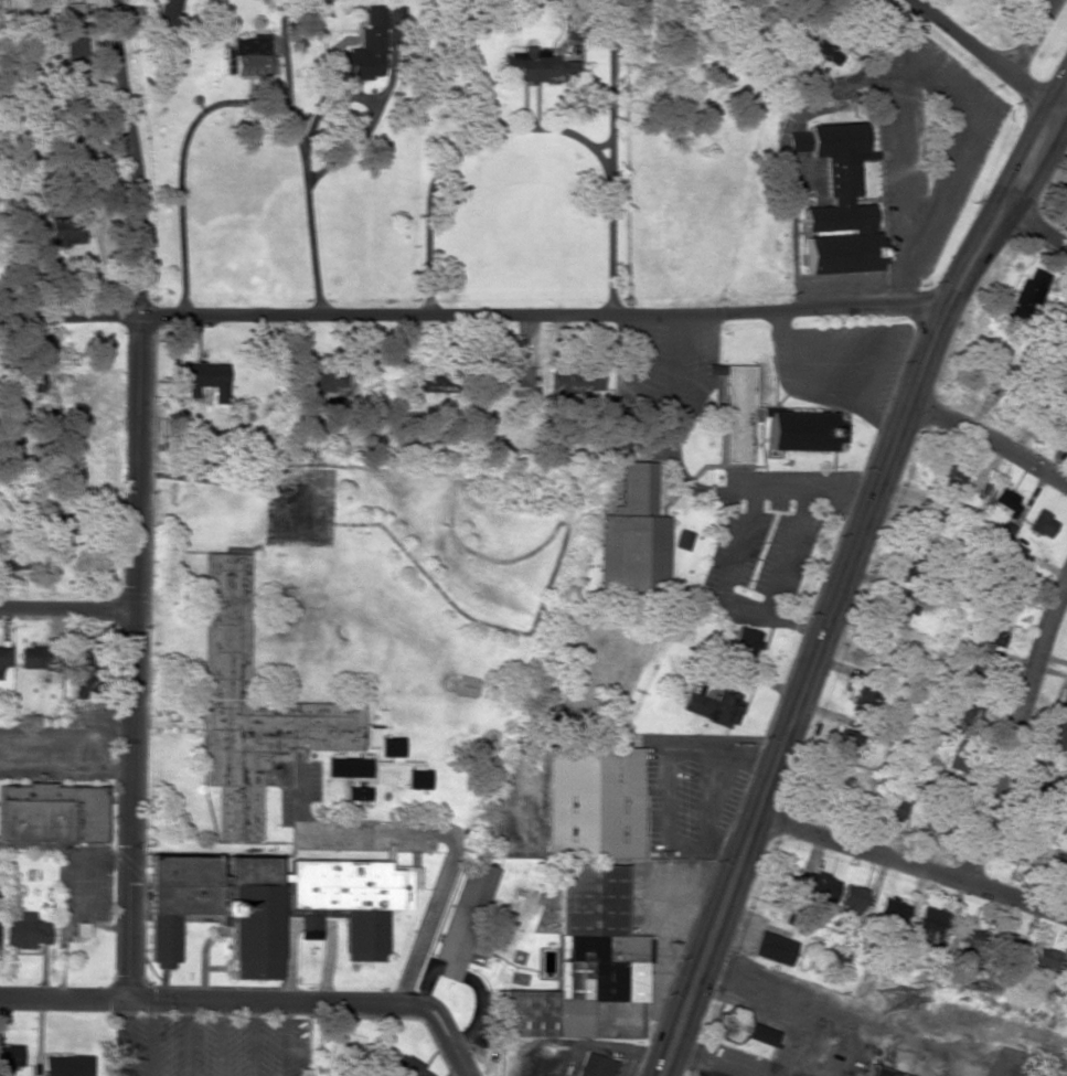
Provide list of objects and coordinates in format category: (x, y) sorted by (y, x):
building: (73, 8)
building: (168, 12)
building: (72, 39)
building: (365, 49)
building: (828, 52)
road: (983, 55)
building: (247, 56)
building: (536, 66)
road: (1061, 90)
building: (72, 93)
road: (1061, 105)
road: (1061, 113)
building: (836, 201)
building: (64, 231)
road: (1035, 232)
building: (1025, 296)
road: (471, 315)
building: (1064, 321)
building: (516, 379)
building: (205, 380)
building: (22, 381)
building: (320, 382)
building: (572, 383)
building: (412, 387)
building: (736, 412)
building: (1061, 414)
building: (800, 430)
road: (985, 440)
building: (952, 480)
road: (137, 497)
building: (1005, 509)
building: (1041, 524)
building: (632, 535)
building: (683, 540)
building: (12, 562)
road: (837, 583)
building: (1006, 603)
road: (66, 609)
building: (898, 612)
building: (991, 633)
building: (744, 642)
building: (4, 657)
building: (39, 658)
building: (81, 672)
building: (981, 674)
building: (861, 697)
building: (1061, 699)
building: (713, 706)
building: (252, 707)
building: (964, 711)
road: (1013, 729)
building: (1058, 736)
building: (844, 743)
building: (391, 747)
building: (346, 766)
building: (388, 776)
building: (418, 777)
building: (1048, 785)
building: (356, 792)
building: (594, 801)
building: (893, 809)
building: (51, 813)
road: (910, 864)
building: (819, 886)
building: (852, 896)
building: (273, 905)
building: (893, 909)
building: (467, 921)
building: (81, 929)
building: (24, 931)
building: (943, 931)
building: (1009, 942)
building: (773, 948)
building: (583, 958)
building: (1046, 958)
road: (253, 1000)
power tower: (892, 1002)
building: (743, 1026)
building: (10, 1057)
building: (66, 1065)
building: (595, 1066)
building: (408, 1067)
building: (884, 1070)

